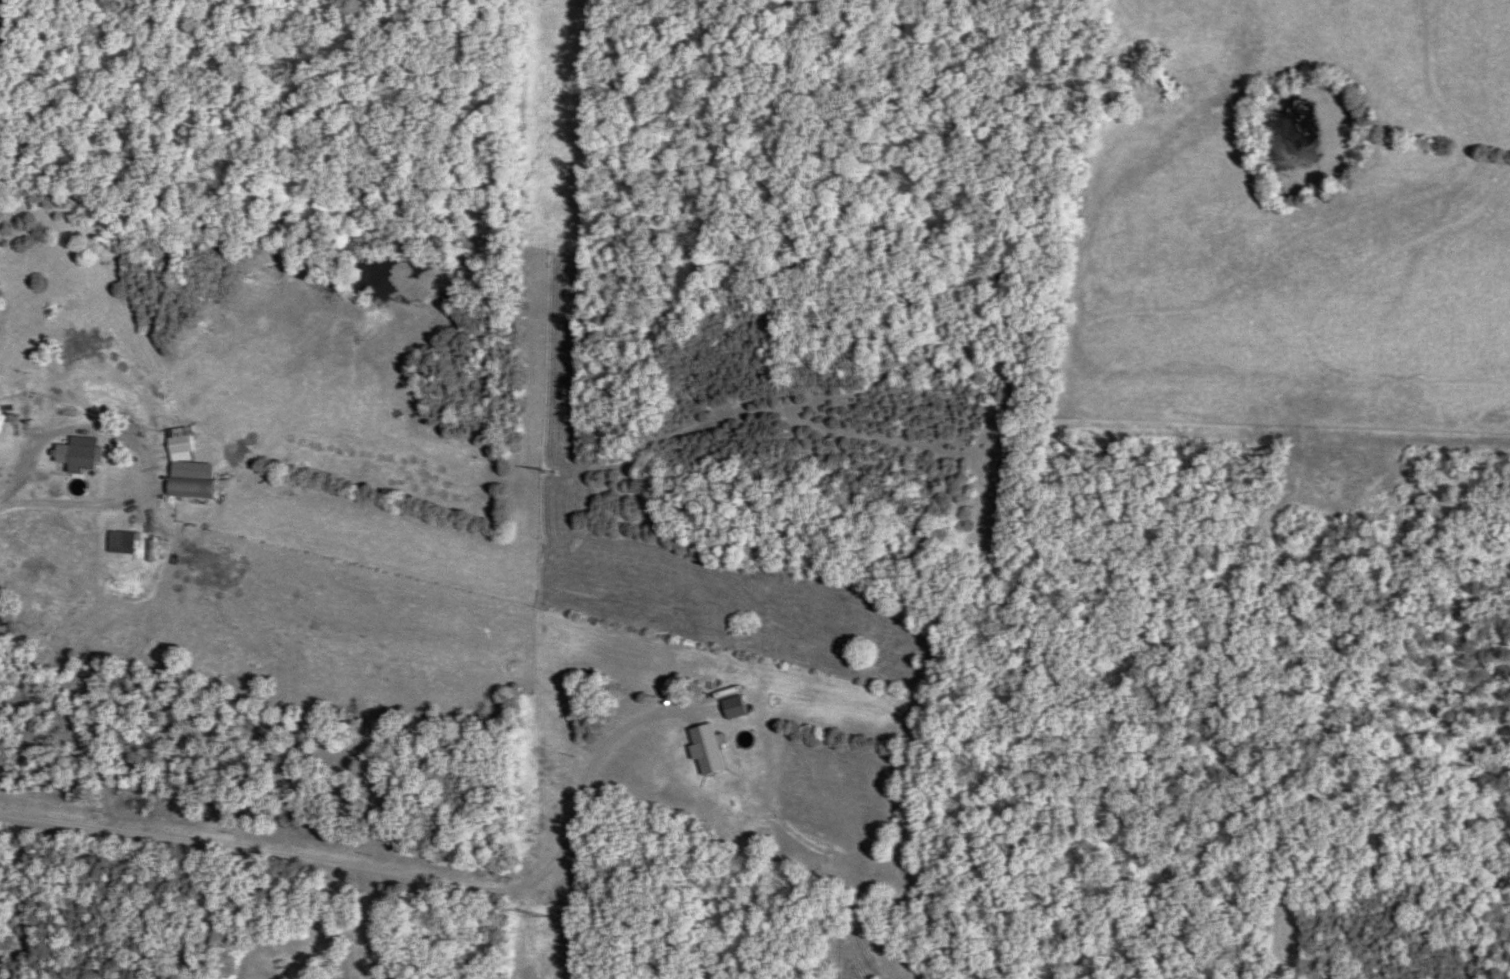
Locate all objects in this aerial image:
road: (7, 326)
building: (87, 453)
road: (34, 465)
power tower: (551, 471)
building: (195, 486)
building: (123, 540)
building: (739, 706)
building: (712, 748)

